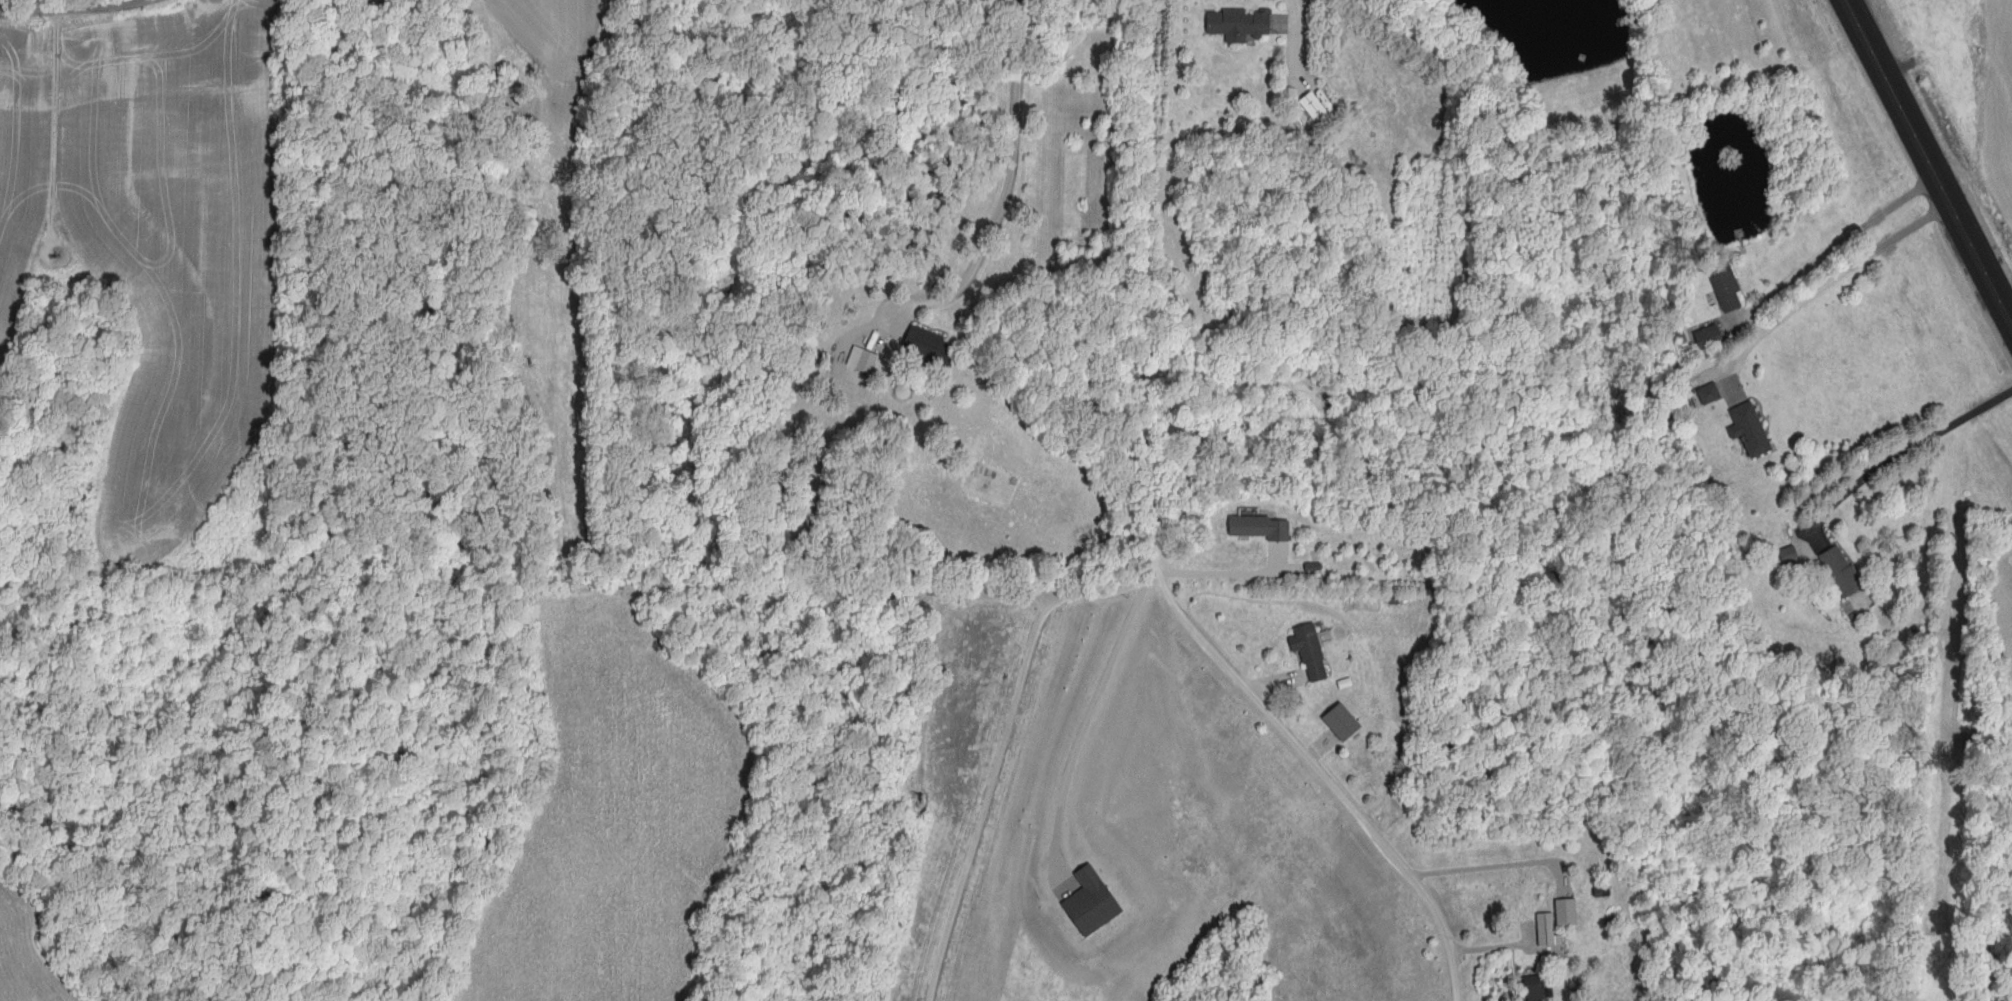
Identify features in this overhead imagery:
road: (63, 4)
building: (1241, 26)
road: (1303, 40)
building: (1316, 109)
road: (1932, 157)
road: (1014, 168)
road: (1847, 238)
road: (1829, 283)
building: (1728, 287)
building: (1711, 337)
building: (932, 346)
building: (869, 362)
building: (1711, 394)
building: (1751, 429)
road: (1901, 458)
road: (1163, 554)
building: (1792, 556)
building: (1844, 572)
road: (1230, 576)
building: (1312, 651)
road: (1086, 722)
road: (1005, 744)
building: (1093, 903)
building: (1568, 912)
building: (1548, 930)
building: (1537, 989)

